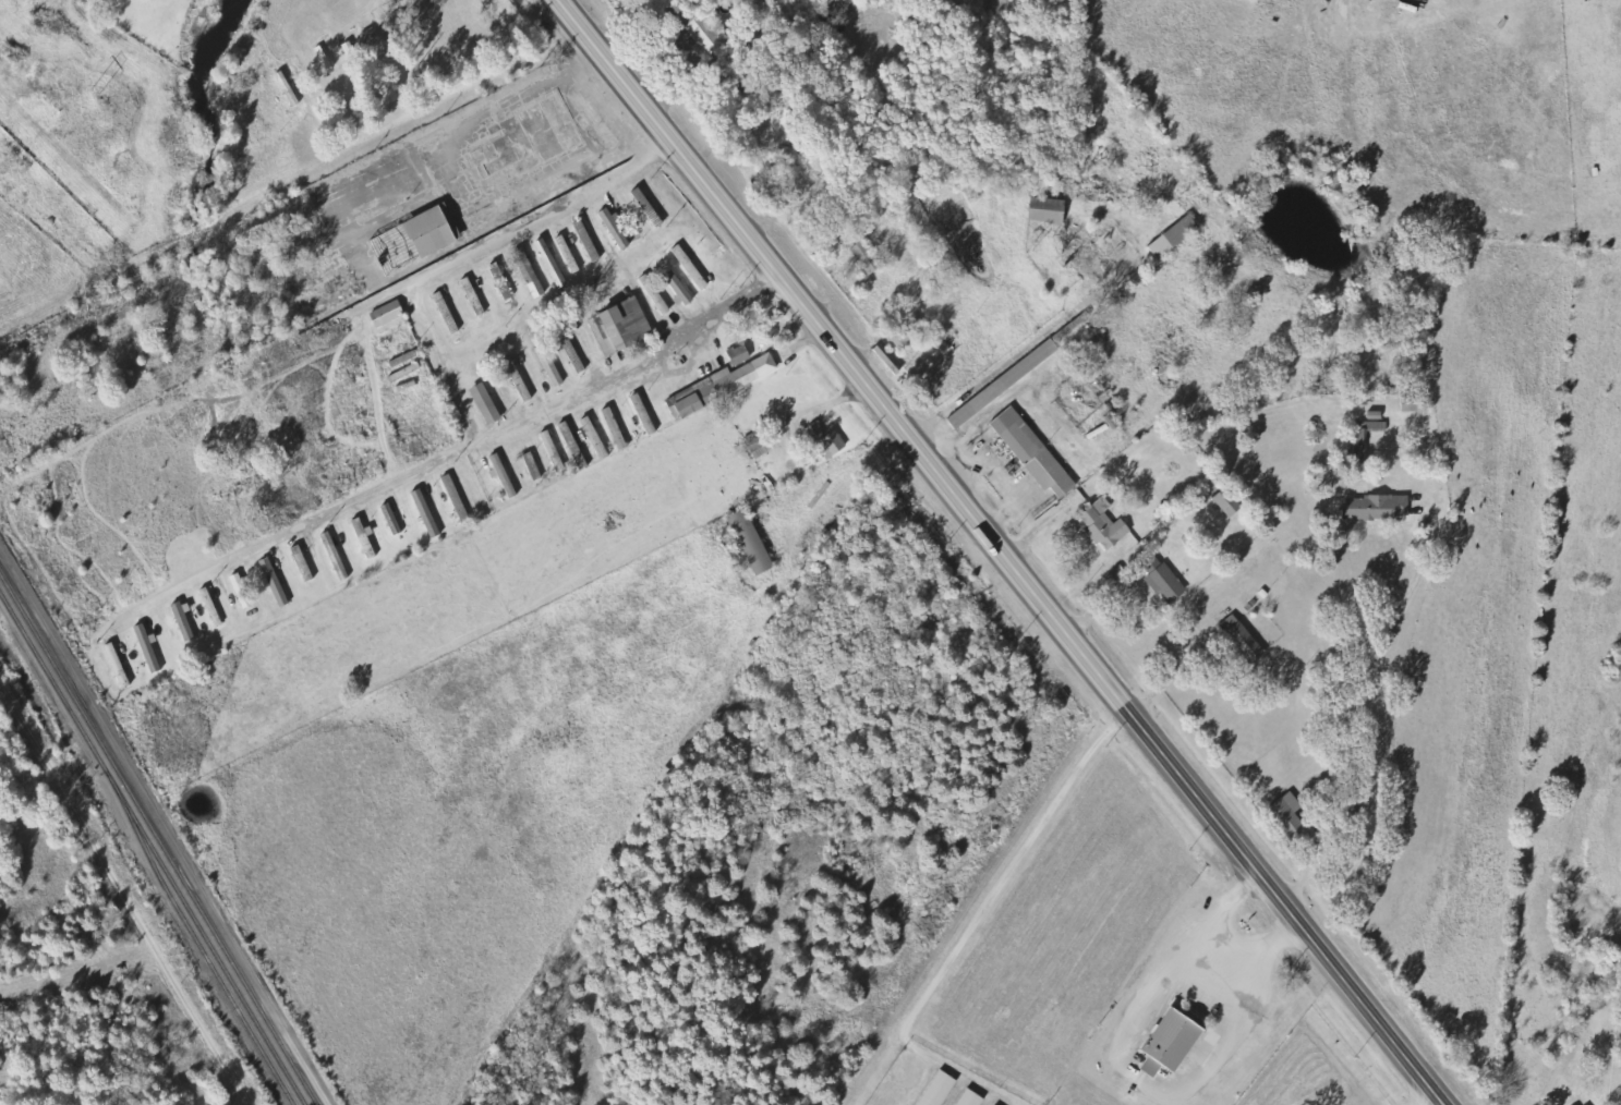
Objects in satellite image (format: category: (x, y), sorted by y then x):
building: (707, 35)
building: (372, 39)
road: (416, 52)
power tower: (94, 92)
building: (390, 94)
building: (1050, 211)
building: (616, 230)
building: (1175, 238)
building: (419, 240)
building: (589, 241)
building: (1102, 251)
building: (569, 255)
building: (868, 258)
building: (553, 264)
building: (692, 268)
building: (530, 274)
building: (503, 282)
building: (679, 289)
building: (656, 295)
building: (474, 297)
building: (447, 314)
building: (389, 315)
road: (542, 318)
building: (624, 327)
building: (741, 355)
building: (549, 365)
building: (519, 379)
building: (1005, 385)
building: (722, 387)
building: (487, 404)
building: (1414, 404)
building: (645, 415)
building: (616, 429)
building: (596, 439)
building: (1366, 440)
building: (828, 442)
building: (760, 444)
building: (551, 445)
building: (574, 447)
building: (1035, 453)
building: (534, 467)
building: (504, 476)
building: (458, 499)
building: (1230, 503)
building: (1378, 508)
building: (427, 514)
building: (394, 520)
building: (1104, 525)
building: (753, 544)
road: (1002, 551)
building: (1163, 578)
building: (276, 583)
building: (243, 592)
building: (184, 623)
building: (1244, 640)
road: (661, 646)
railway: (53, 683)
road: (1367, 708)
building: (1290, 815)
railway: (158, 839)
railway: (206, 938)
railway: (202, 950)
building: (1173, 1043)
building: (940, 1090)
building: (971, 1098)
building: (1584, 1103)

